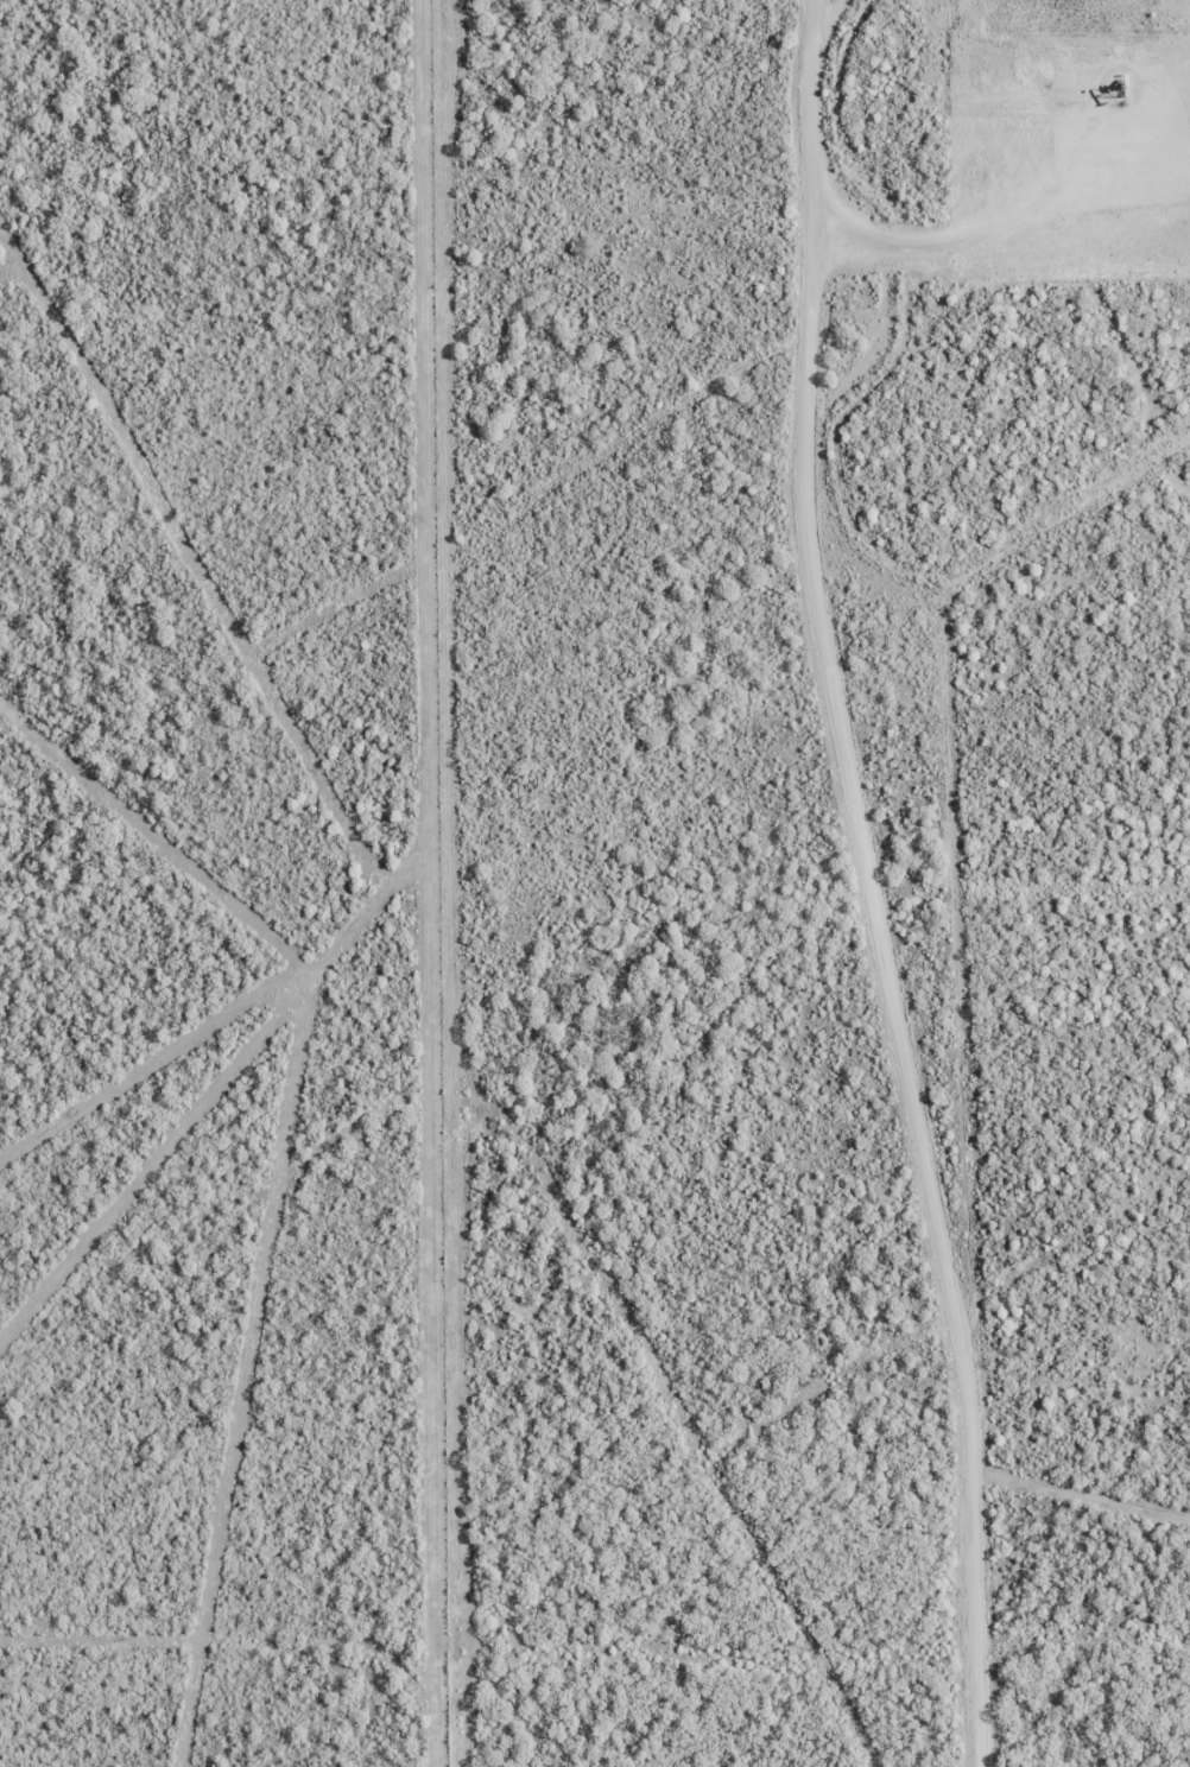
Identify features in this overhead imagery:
road: (973, 246)
road: (871, 883)

